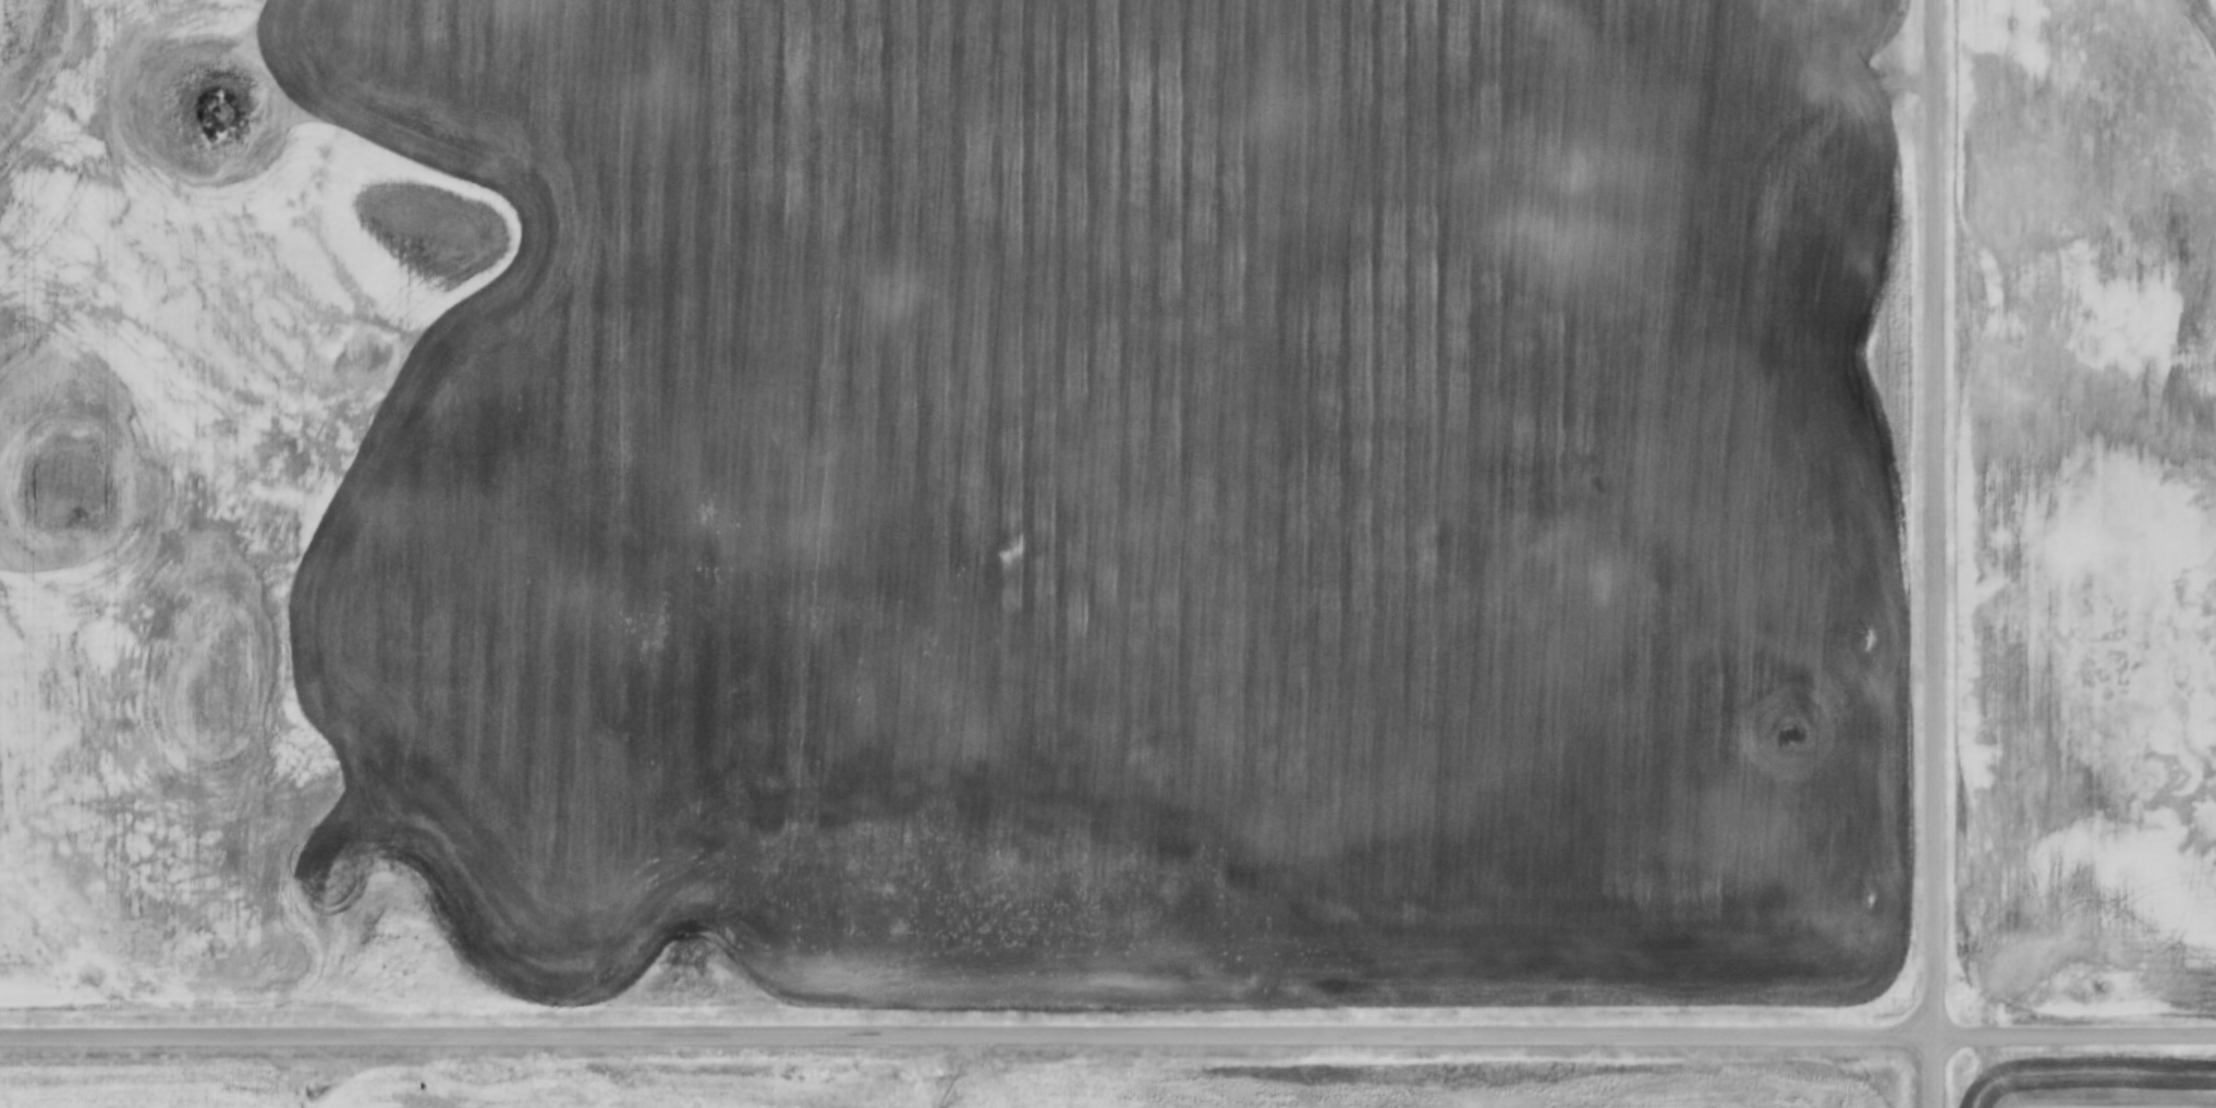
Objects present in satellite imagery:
road: (1927, 553)
road: (1108, 1030)

